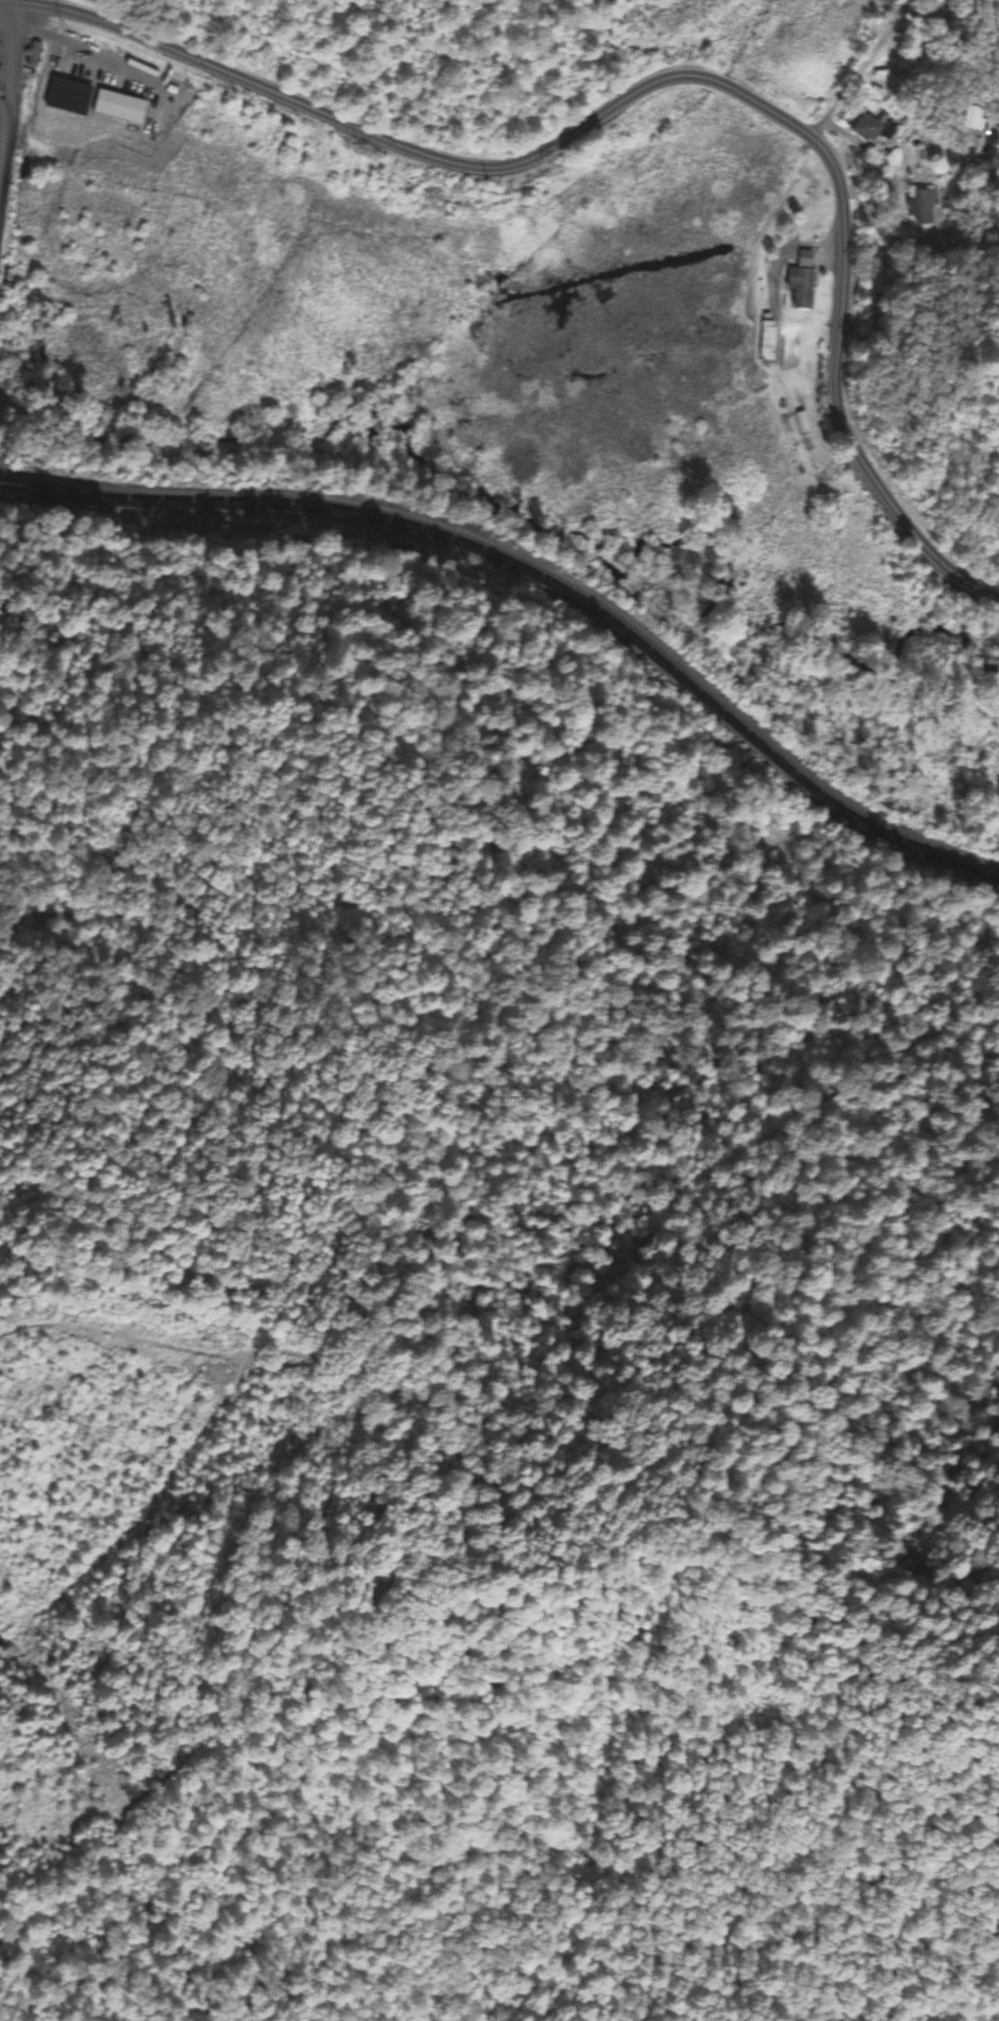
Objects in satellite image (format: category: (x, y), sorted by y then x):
building: (33, 54)
road: (859, 68)
building: (874, 129)
road: (417, 149)
building: (923, 207)
building: (805, 260)
building: (802, 287)
building: (768, 340)
road: (838, 394)
building: (803, 422)
railway: (539, 570)
railway: (540, 580)

